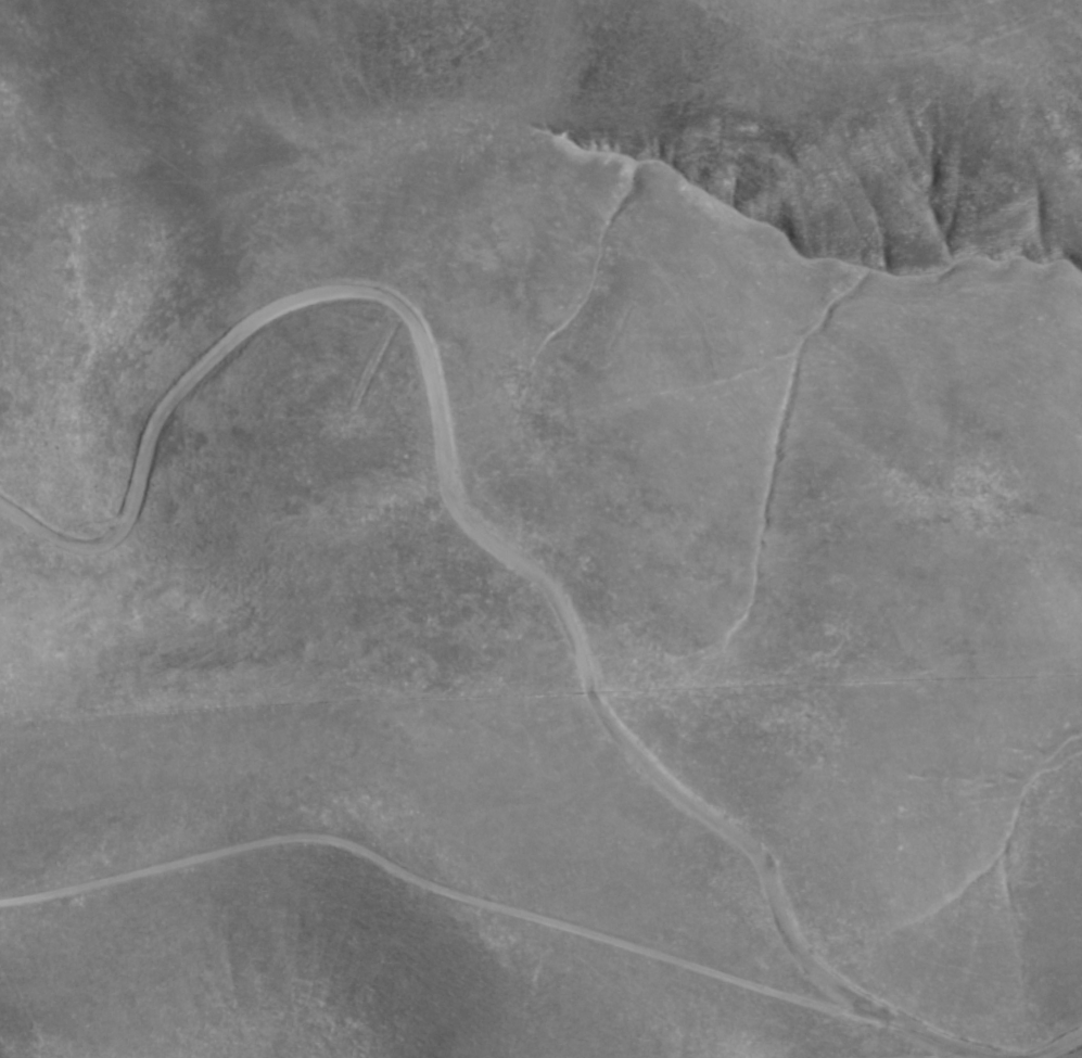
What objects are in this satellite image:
road: (471, 520)
road: (449, 970)
road: (1061, 1047)

